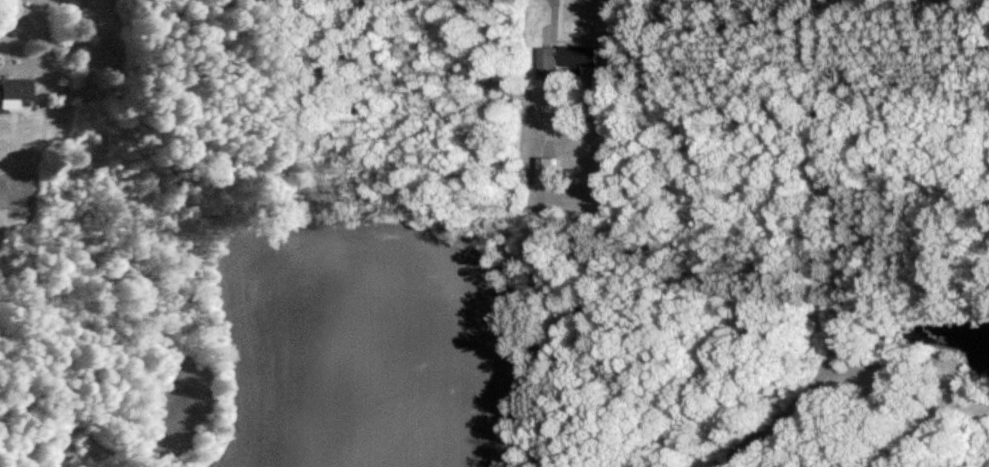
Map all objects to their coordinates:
building: (565, 61)
building: (14, 91)

